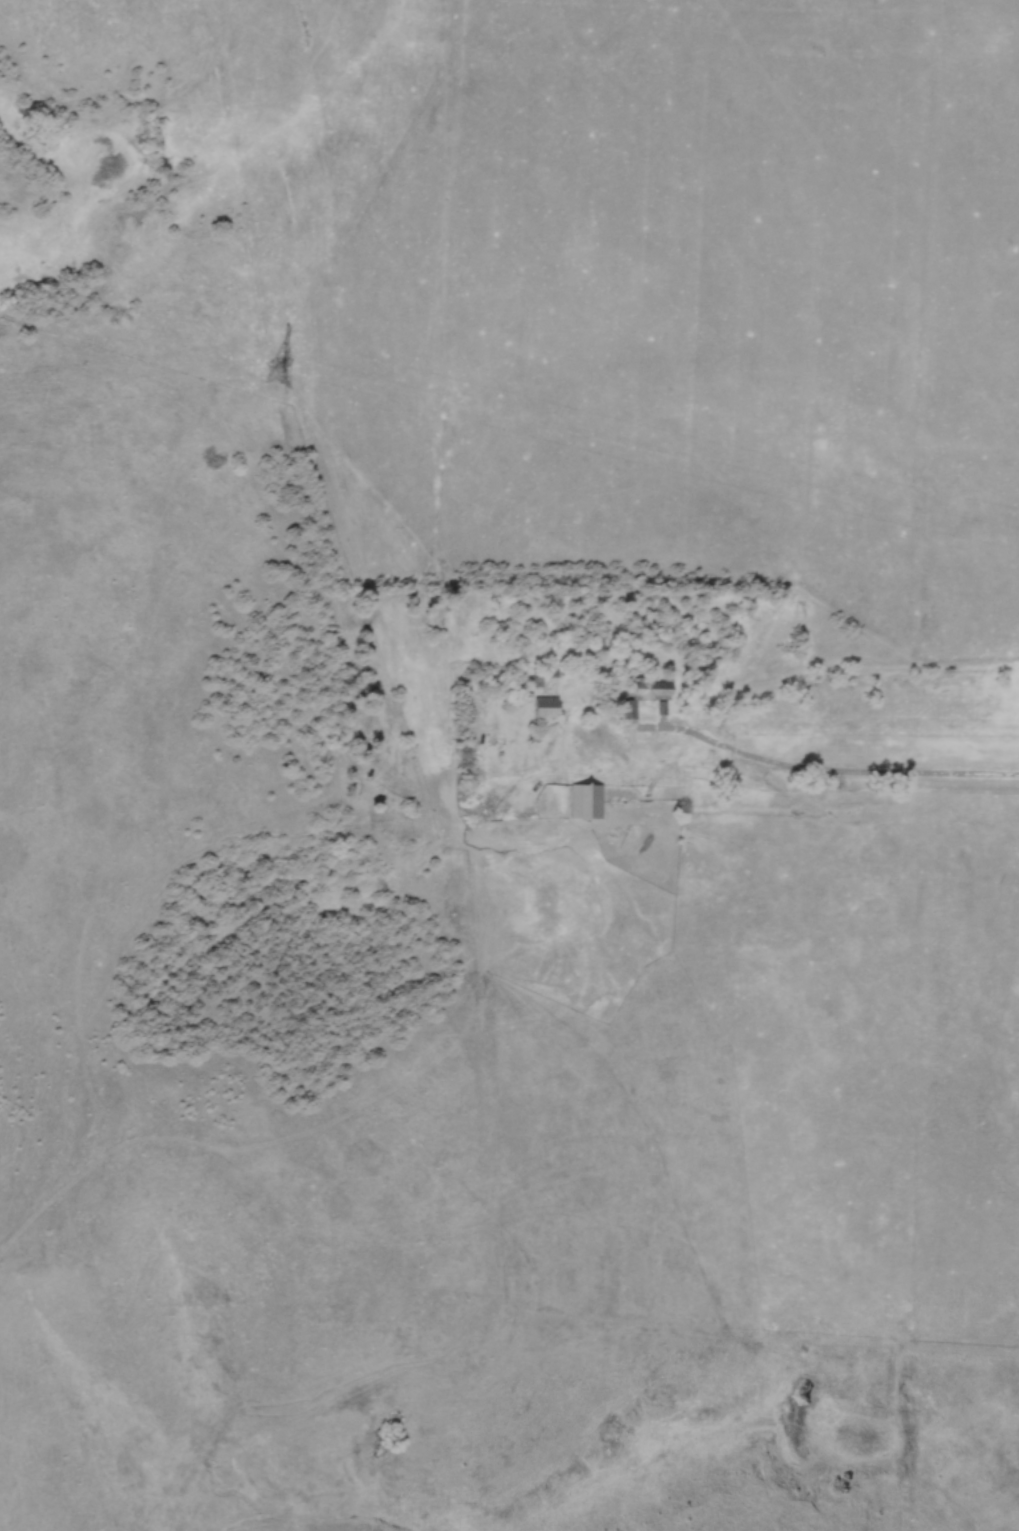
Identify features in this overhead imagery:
power tower: (274, 374)
building: (545, 677)
building: (647, 696)
building: (548, 709)
road: (827, 768)
building: (588, 803)

